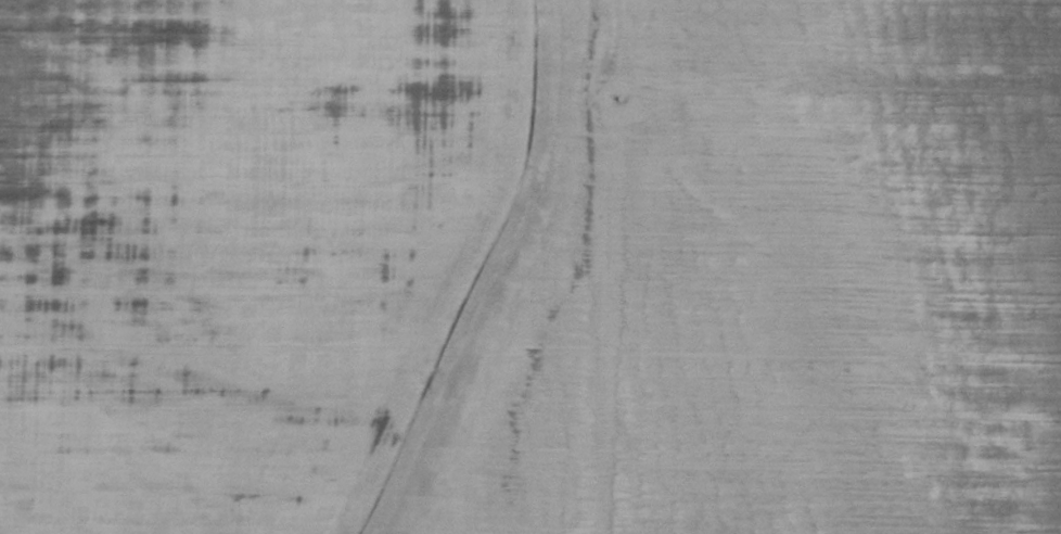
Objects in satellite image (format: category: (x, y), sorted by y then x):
road: (832, 69)
road: (601, 266)

